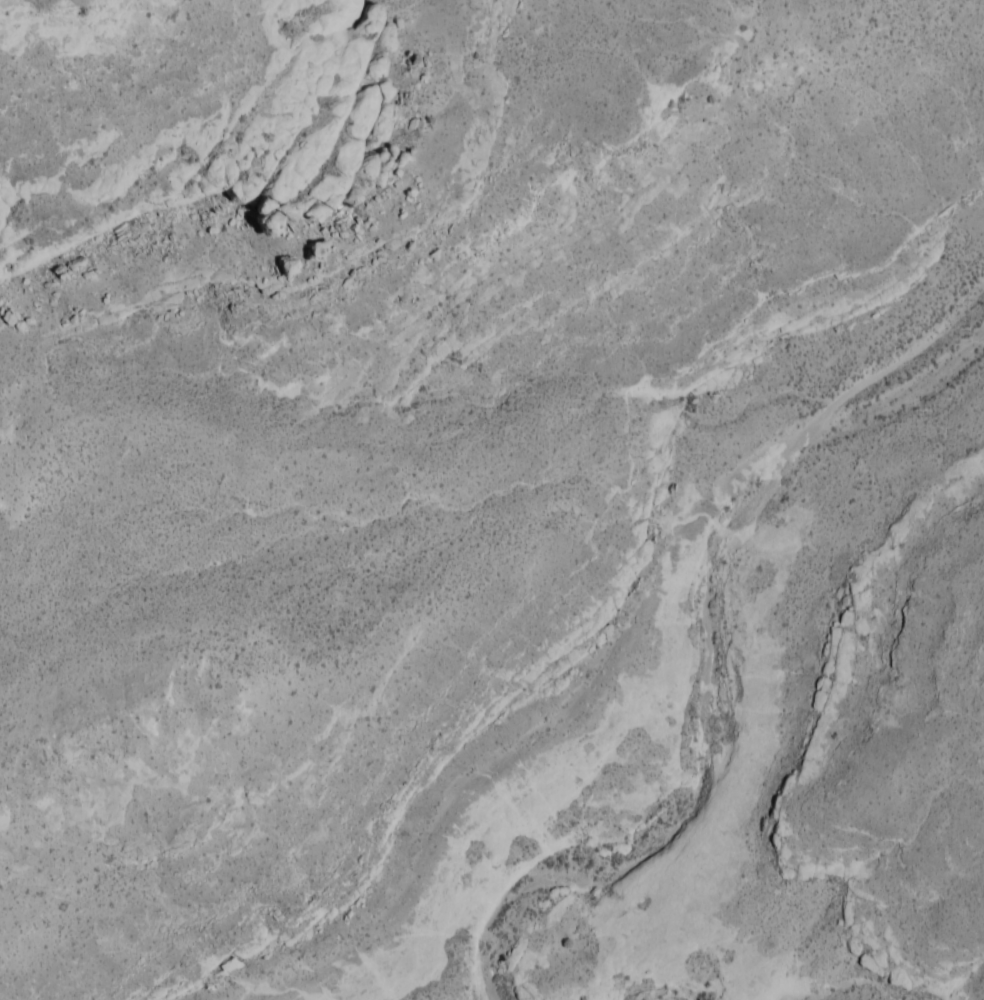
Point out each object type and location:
road: (621, 653)

